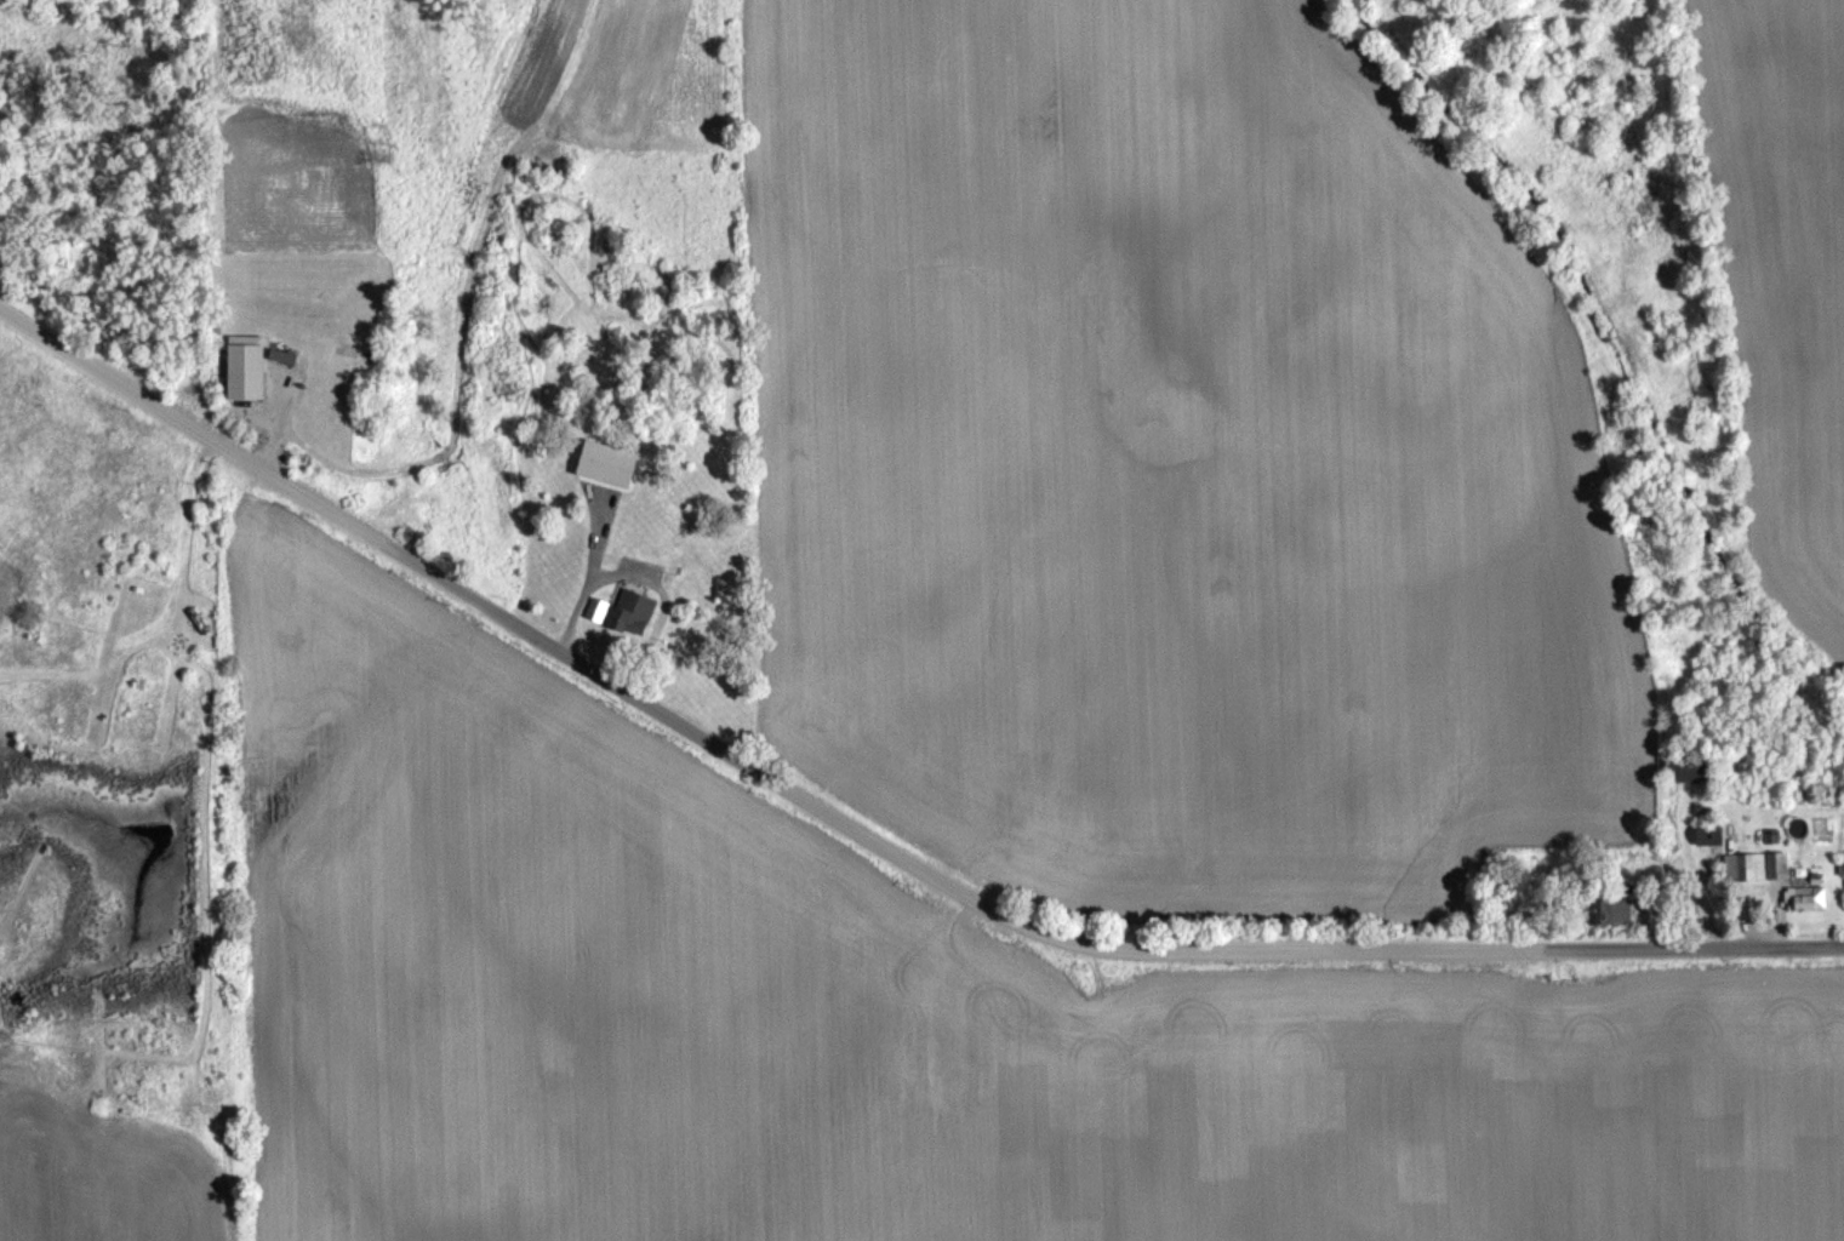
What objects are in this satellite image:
building: (281, 355)
building: (607, 463)
building: (595, 610)
building: (632, 612)
building: (1692, 767)
road: (873, 777)
building: (1708, 835)
building: (1754, 867)
building: (1840, 869)
building: (1805, 898)
building: (1612, 910)

